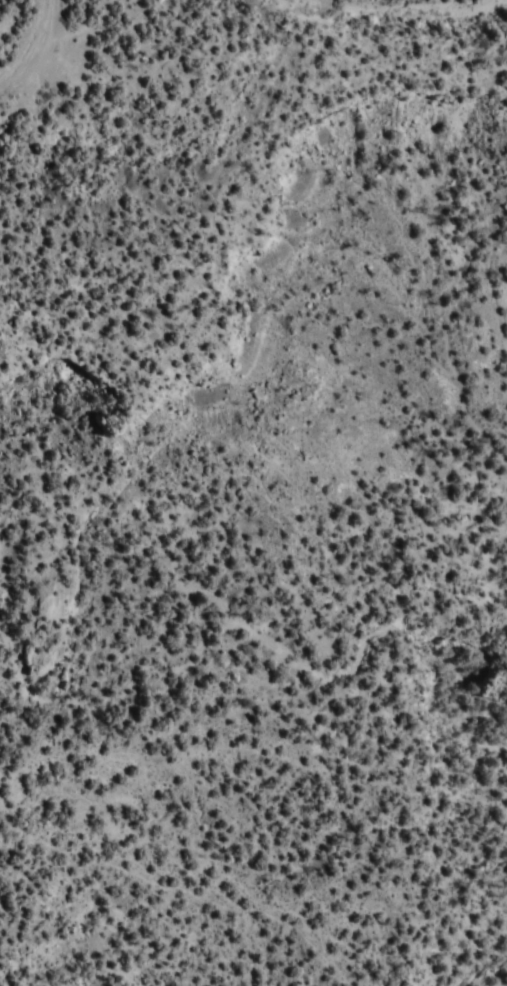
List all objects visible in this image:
road: (361, 18)
road: (33, 42)

